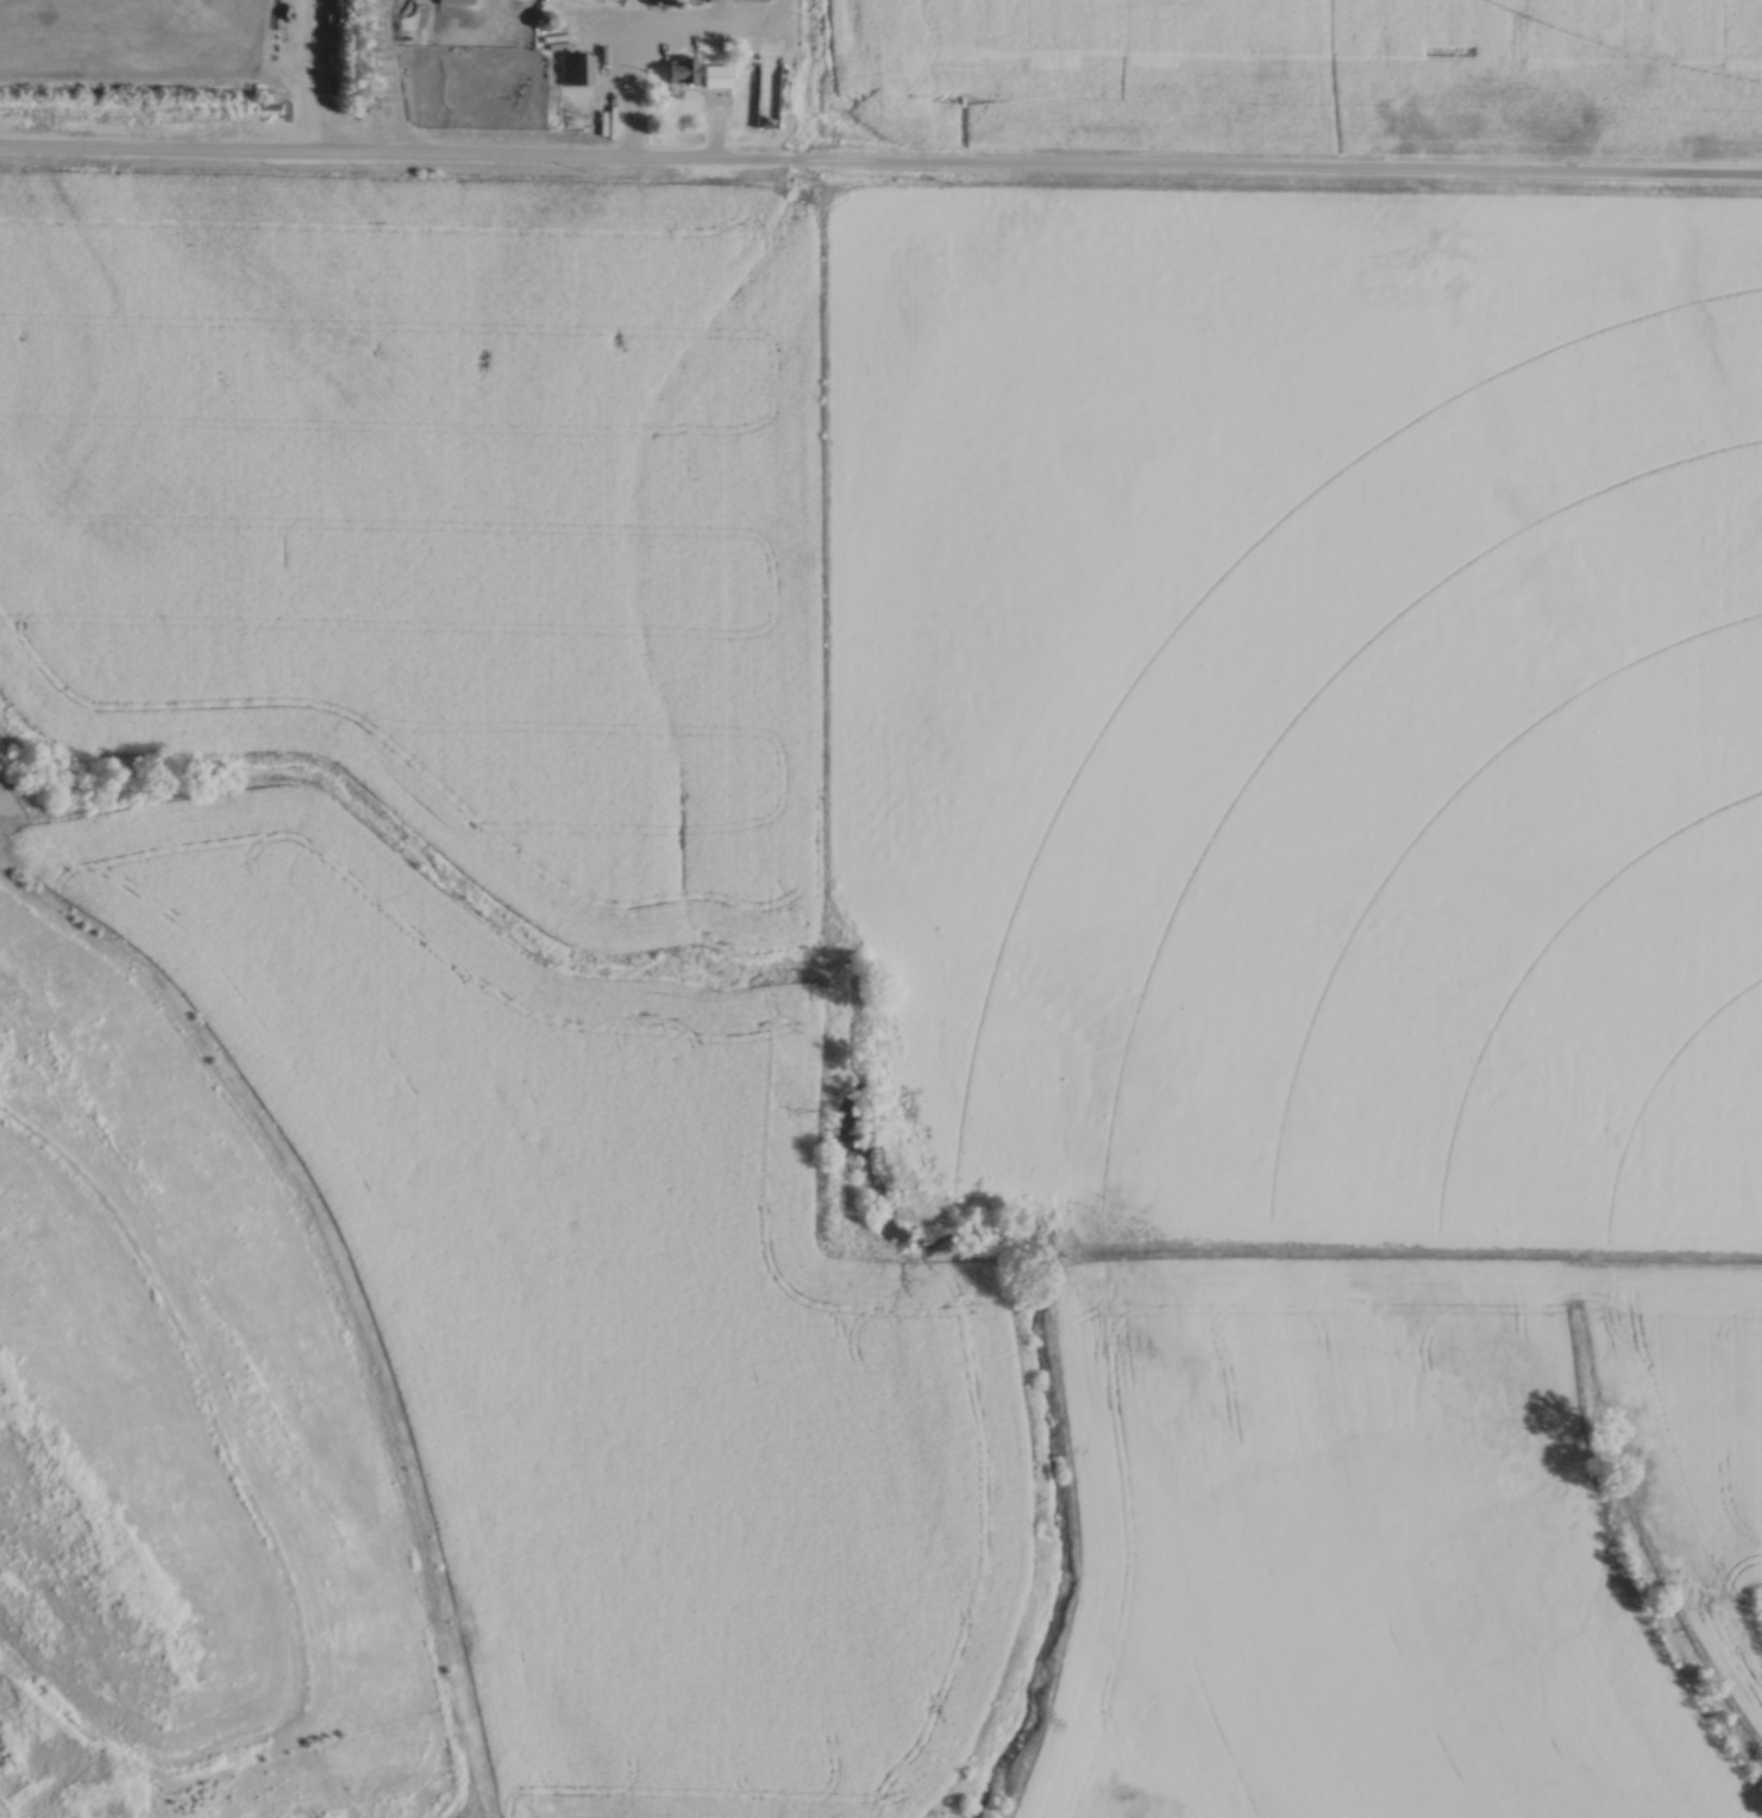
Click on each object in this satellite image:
building: (456, 1)
building: (545, 20)
building: (697, 69)
building: (576, 70)
road: (635, 77)
building: (770, 86)
road: (880, 168)

